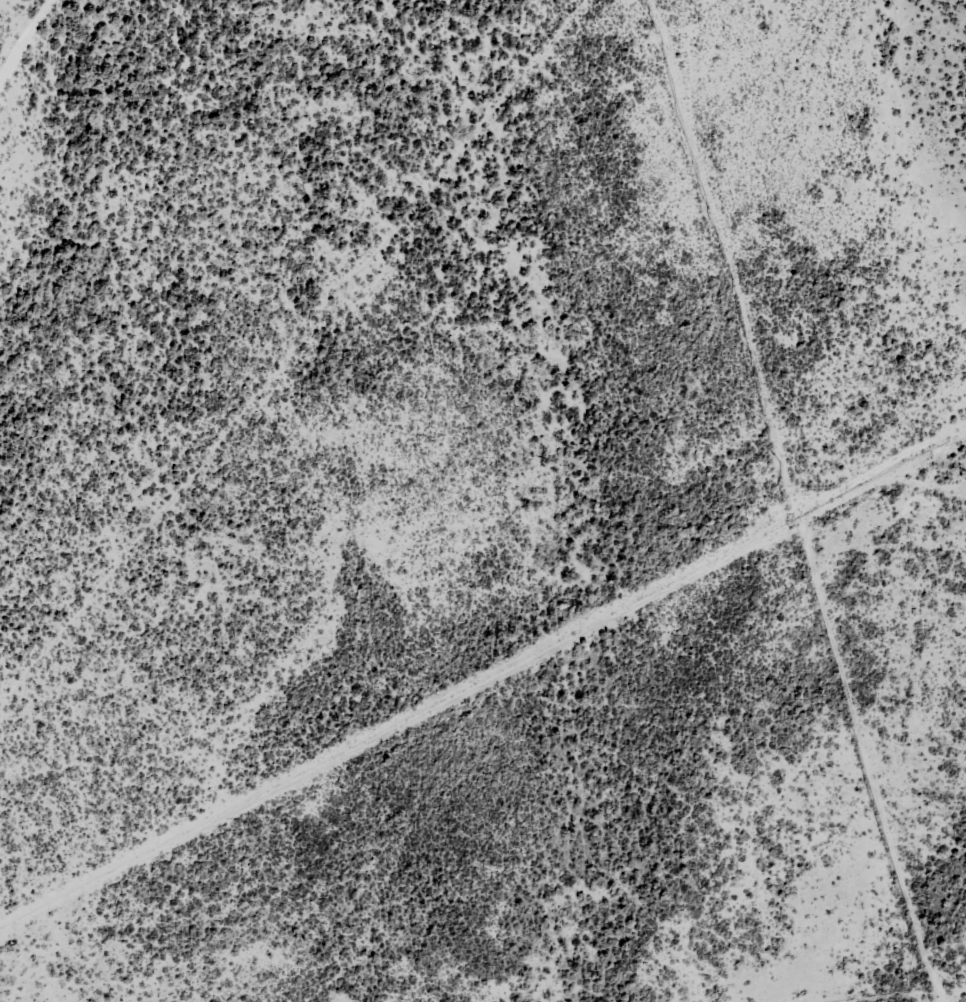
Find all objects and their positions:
road: (20, 37)

